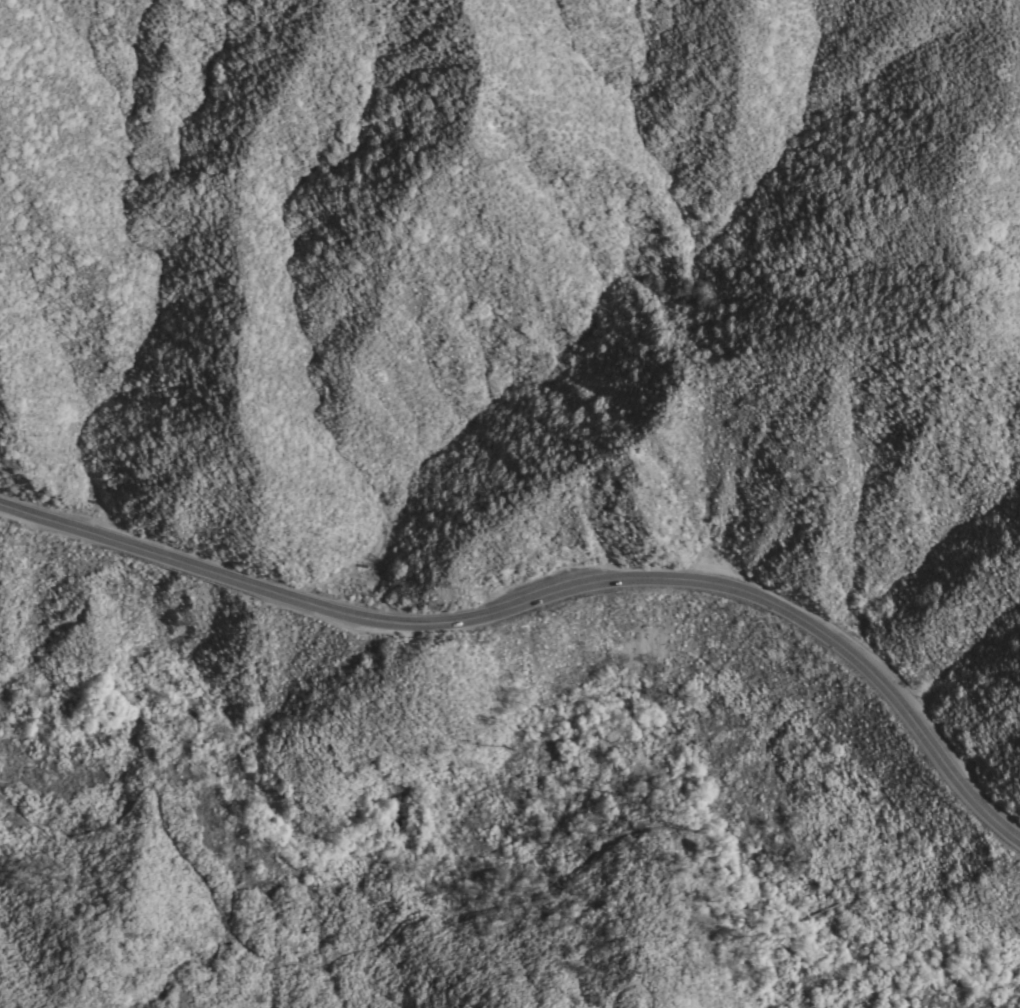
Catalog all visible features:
road: (550, 597)
road: (385, 936)
road: (630, 982)

